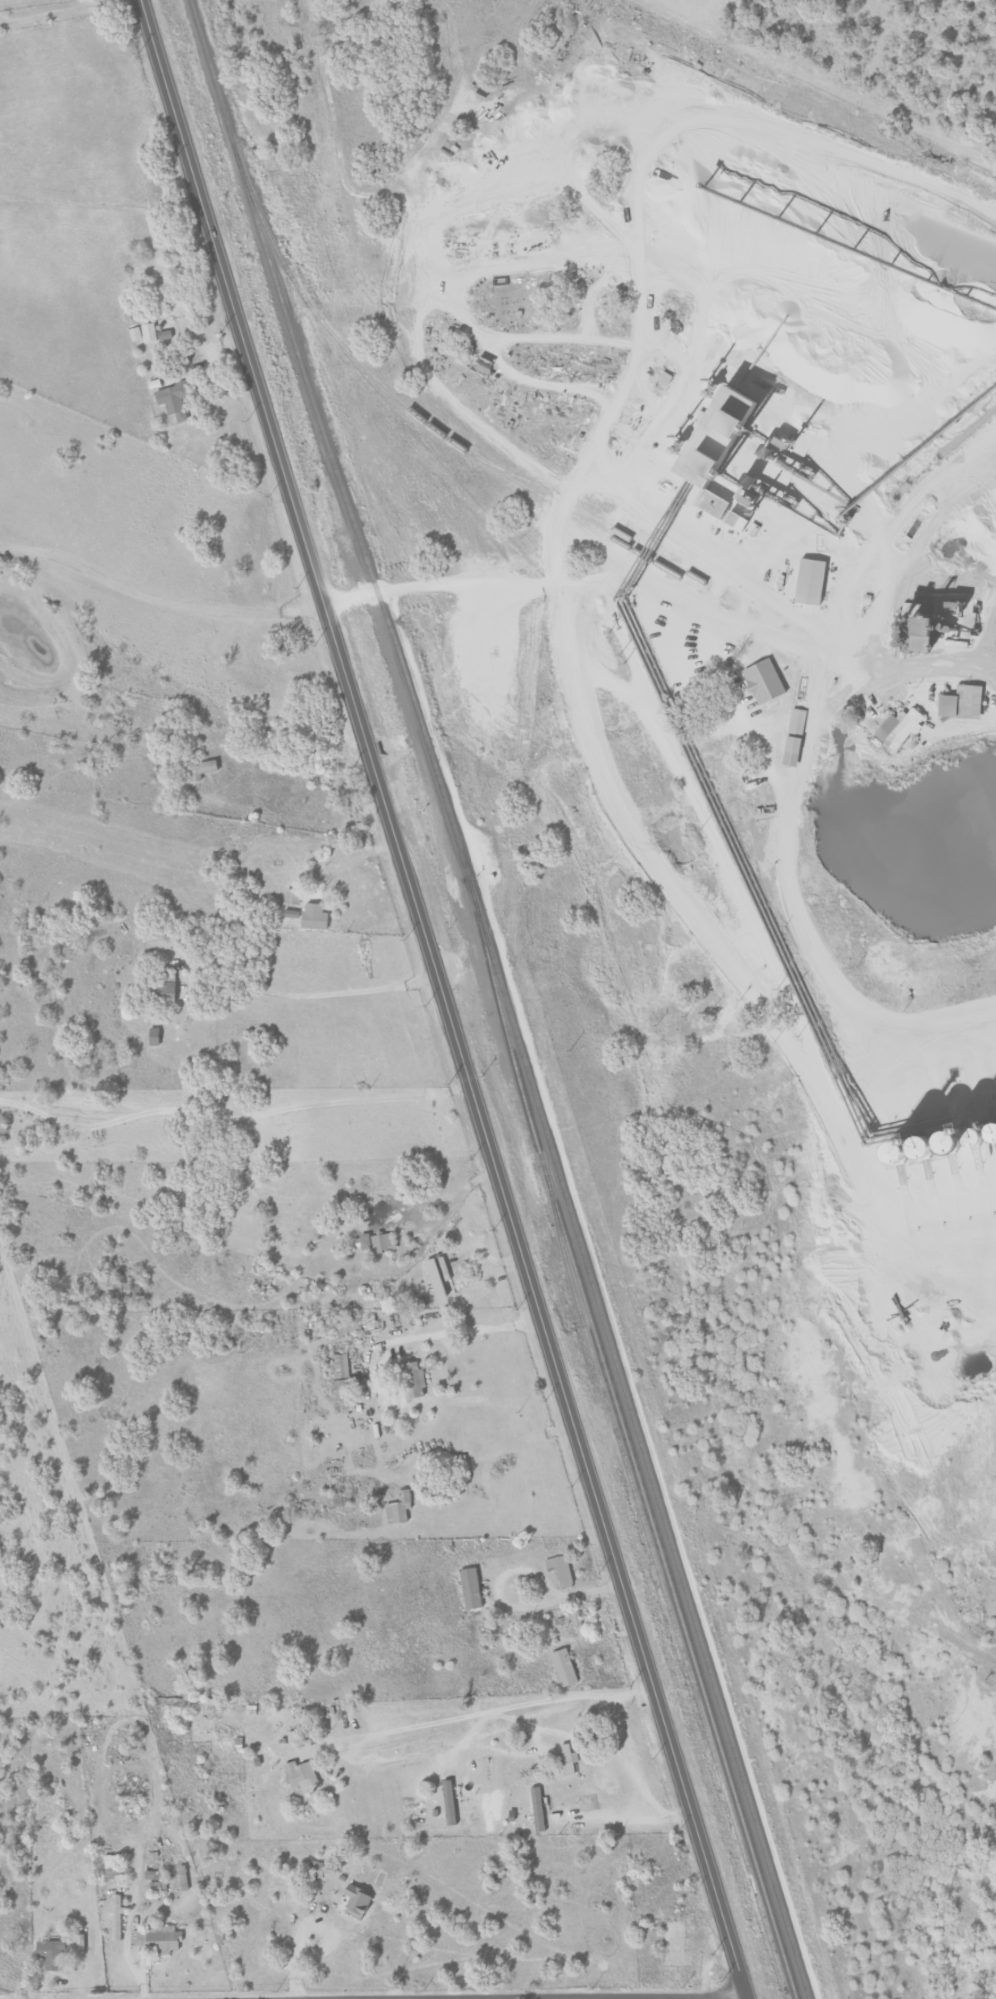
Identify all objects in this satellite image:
road: (42, 10)
building: (147, 332)
building: (134, 333)
railway: (300, 364)
building: (172, 399)
building: (704, 427)
railway: (552, 501)
railway: (642, 546)
road: (542, 579)
building: (807, 581)
road: (405, 582)
road: (158, 595)
building: (910, 632)
building: (761, 681)
building: (958, 702)
building: (795, 723)
building: (896, 728)
building: (788, 751)
building: (199, 769)
quarry: (726, 824)
road: (353, 861)
building: (290, 897)
building: (289, 914)
building: (312, 916)
building: (167, 975)
road: (346, 986)
building: (165, 991)
road: (445, 999)
building: (152, 1036)
road: (924, 1037)
road: (425, 1222)
building: (374, 1242)
building: (437, 1278)
road: (453, 1329)
railway: (594, 1364)
building: (338, 1373)
building: (411, 1379)
railway: (615, 1405)
building: (397, 1508)
building: (558, 1568)
building: (469, 1587)
road: (514, 1607)
building: (562, 1667)
road: (498, 1708)
building: (290, 1735)
road: (628, 1761)
building: (563, 1762)
building: (298, 1774)
building: (446, 1801)
building: (536, 1808)
road: (632, 1821)
building: (111, 1866)
building: (314, 1868)
building: (352, 1901)
building: (115, 1917)
road: (326, 1933)
building: (154, 1939)
building: (79, 1941)
building: (49, 1954)
road: (292, 1973)

